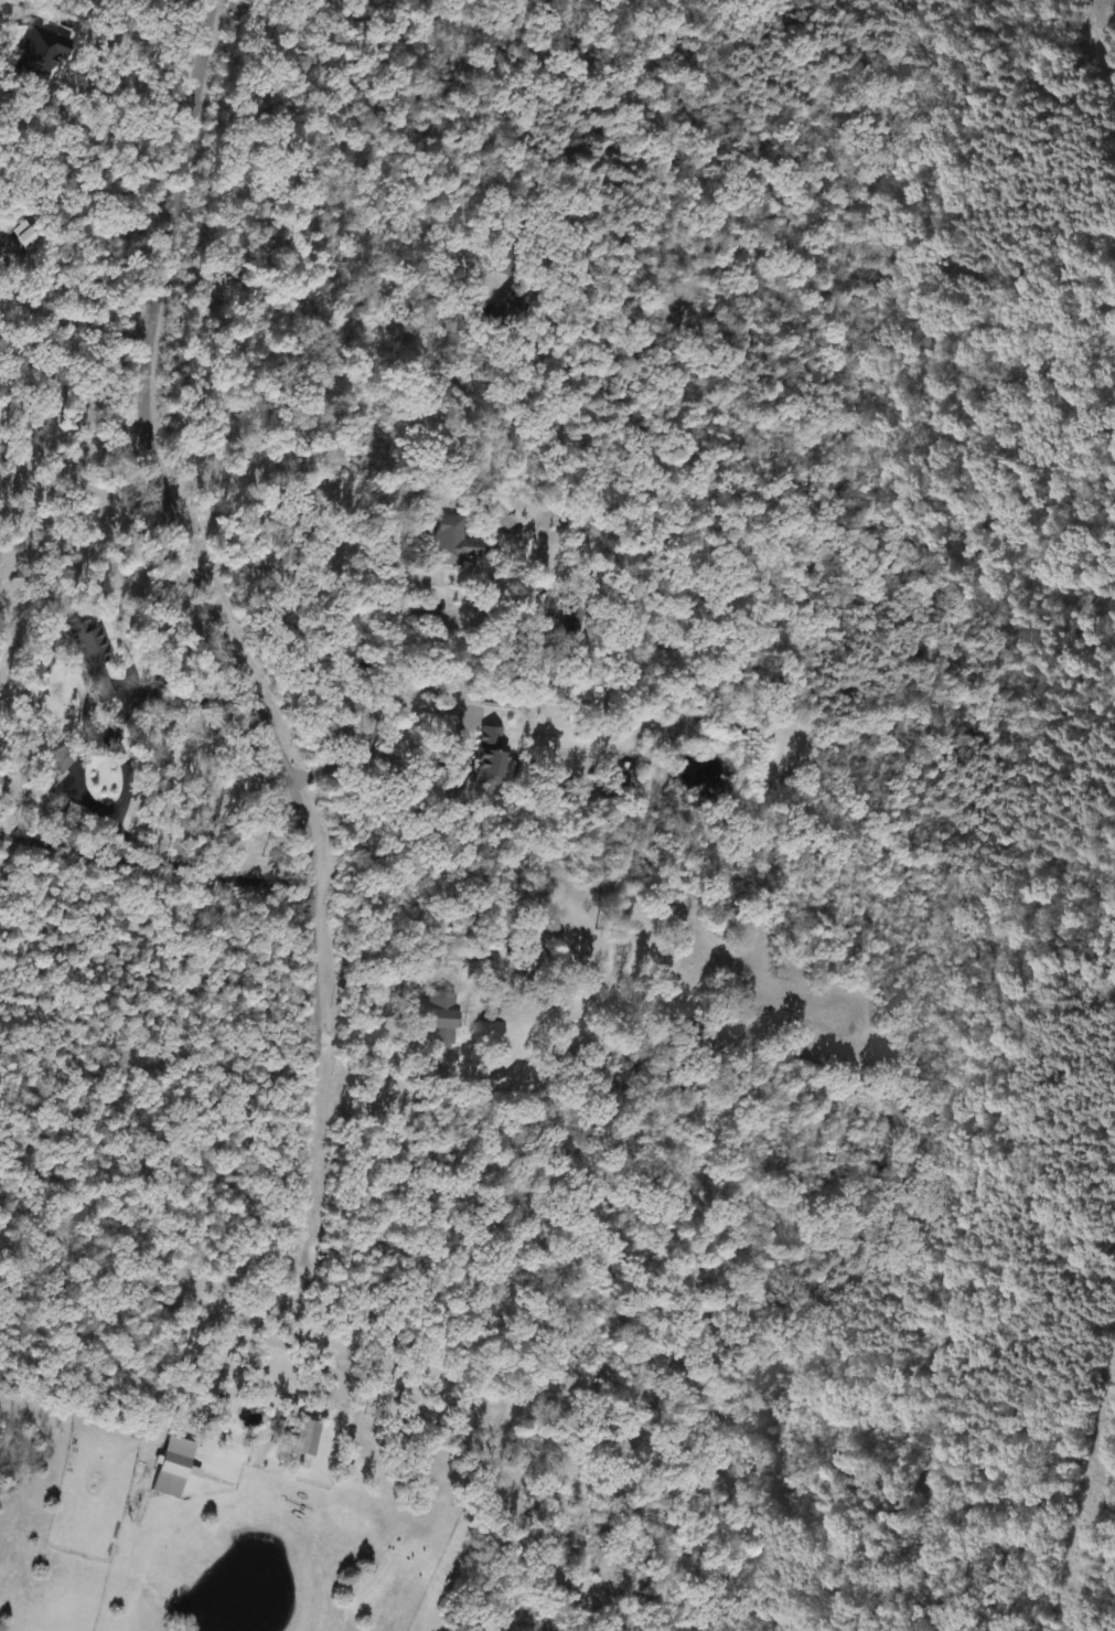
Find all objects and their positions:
road: (122, 42)
building: (513, 309)
building: (454, 537)
road: (321, 568)
road: (228, 642)
building: (88, 650)
road: (159, 694)
building: (592, 707)
building: (63, 756)
road: (452, 758)
building: (489, 759)
building: (69, 818)
building: (517, 962)
building: (442, 1017)
building: (302, 1433)
building: (169, 1473)

